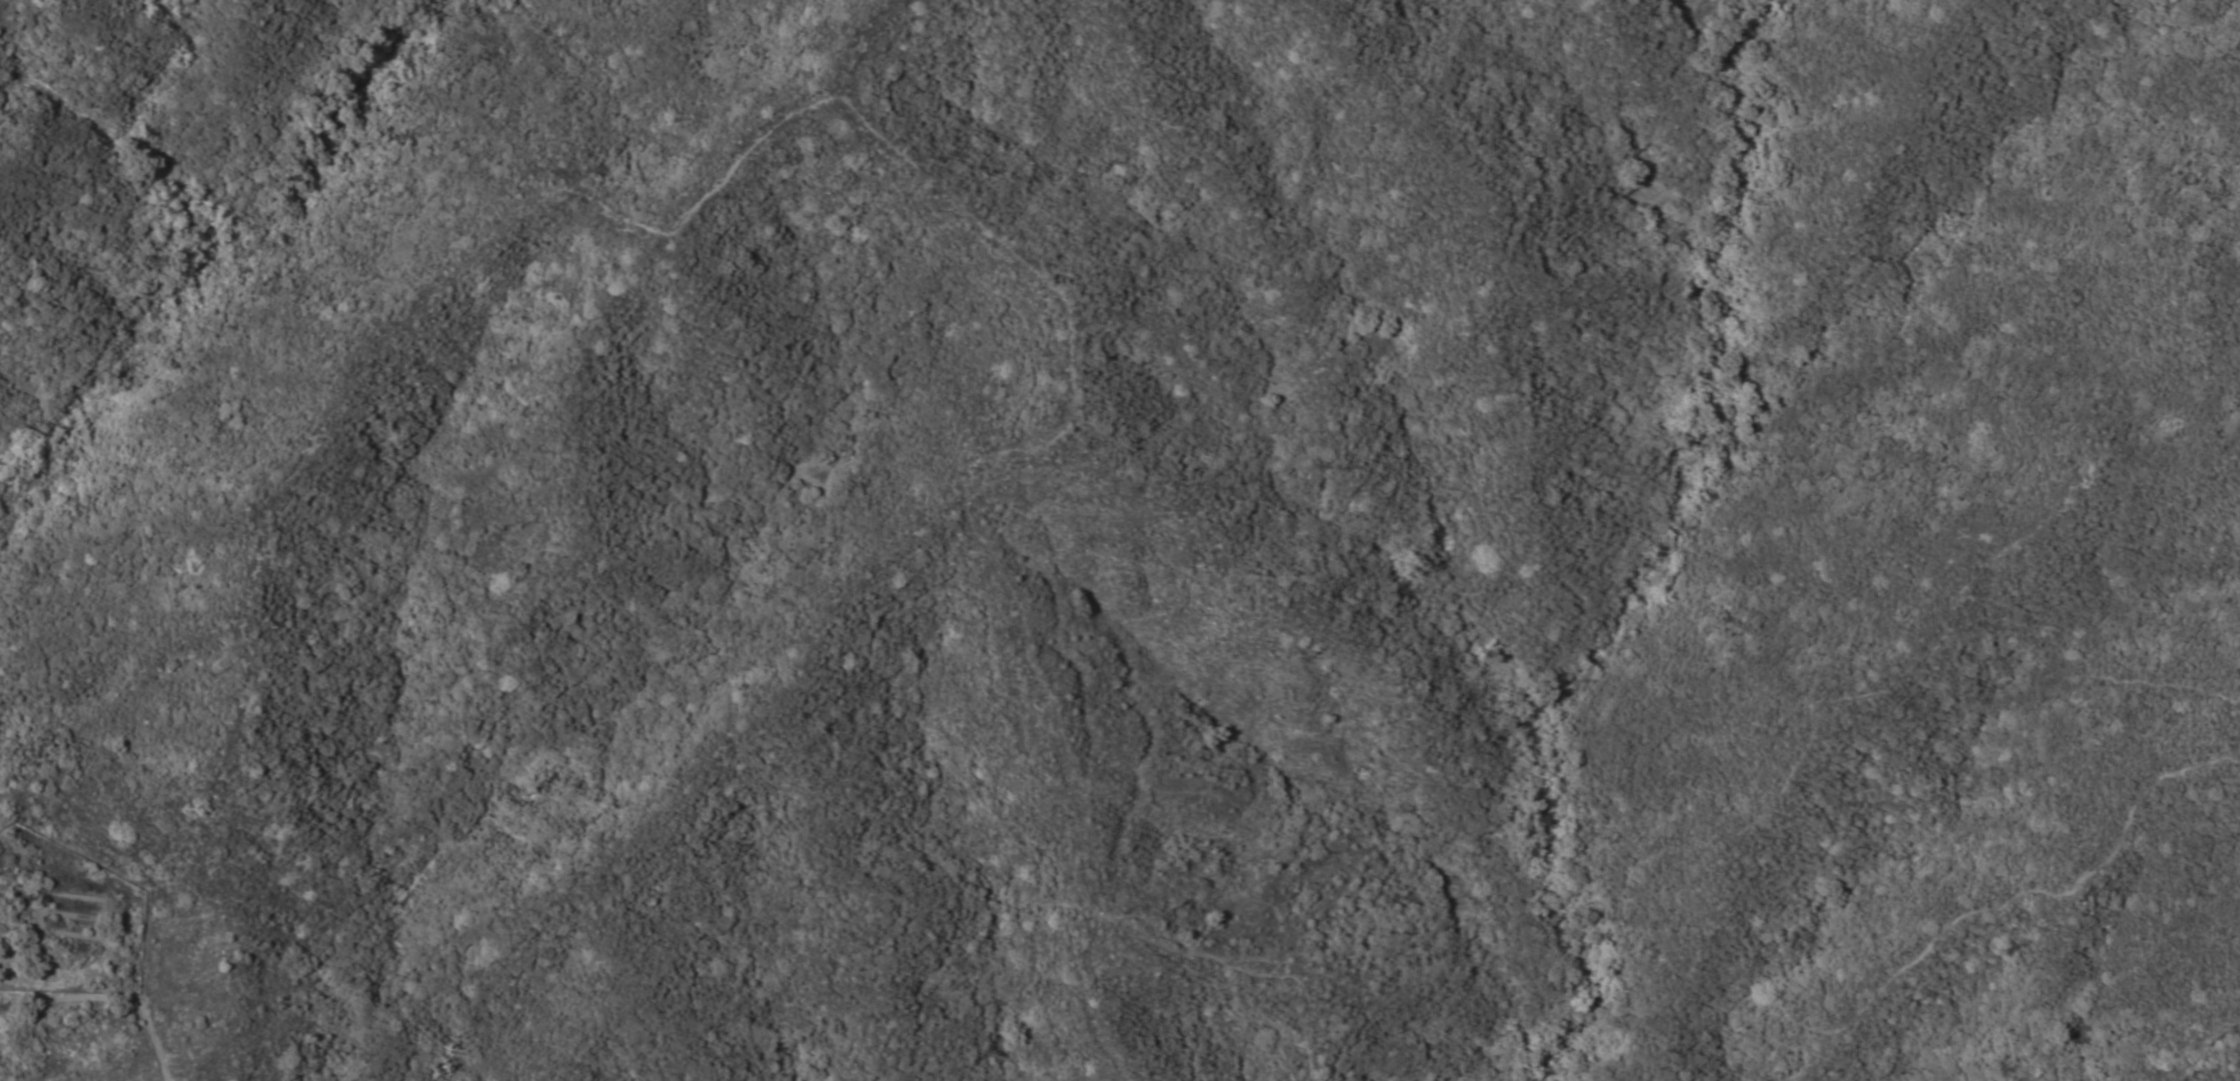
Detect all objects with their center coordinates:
road: (1796, 735)
road: (1266, 972)
road: (111, 998)

